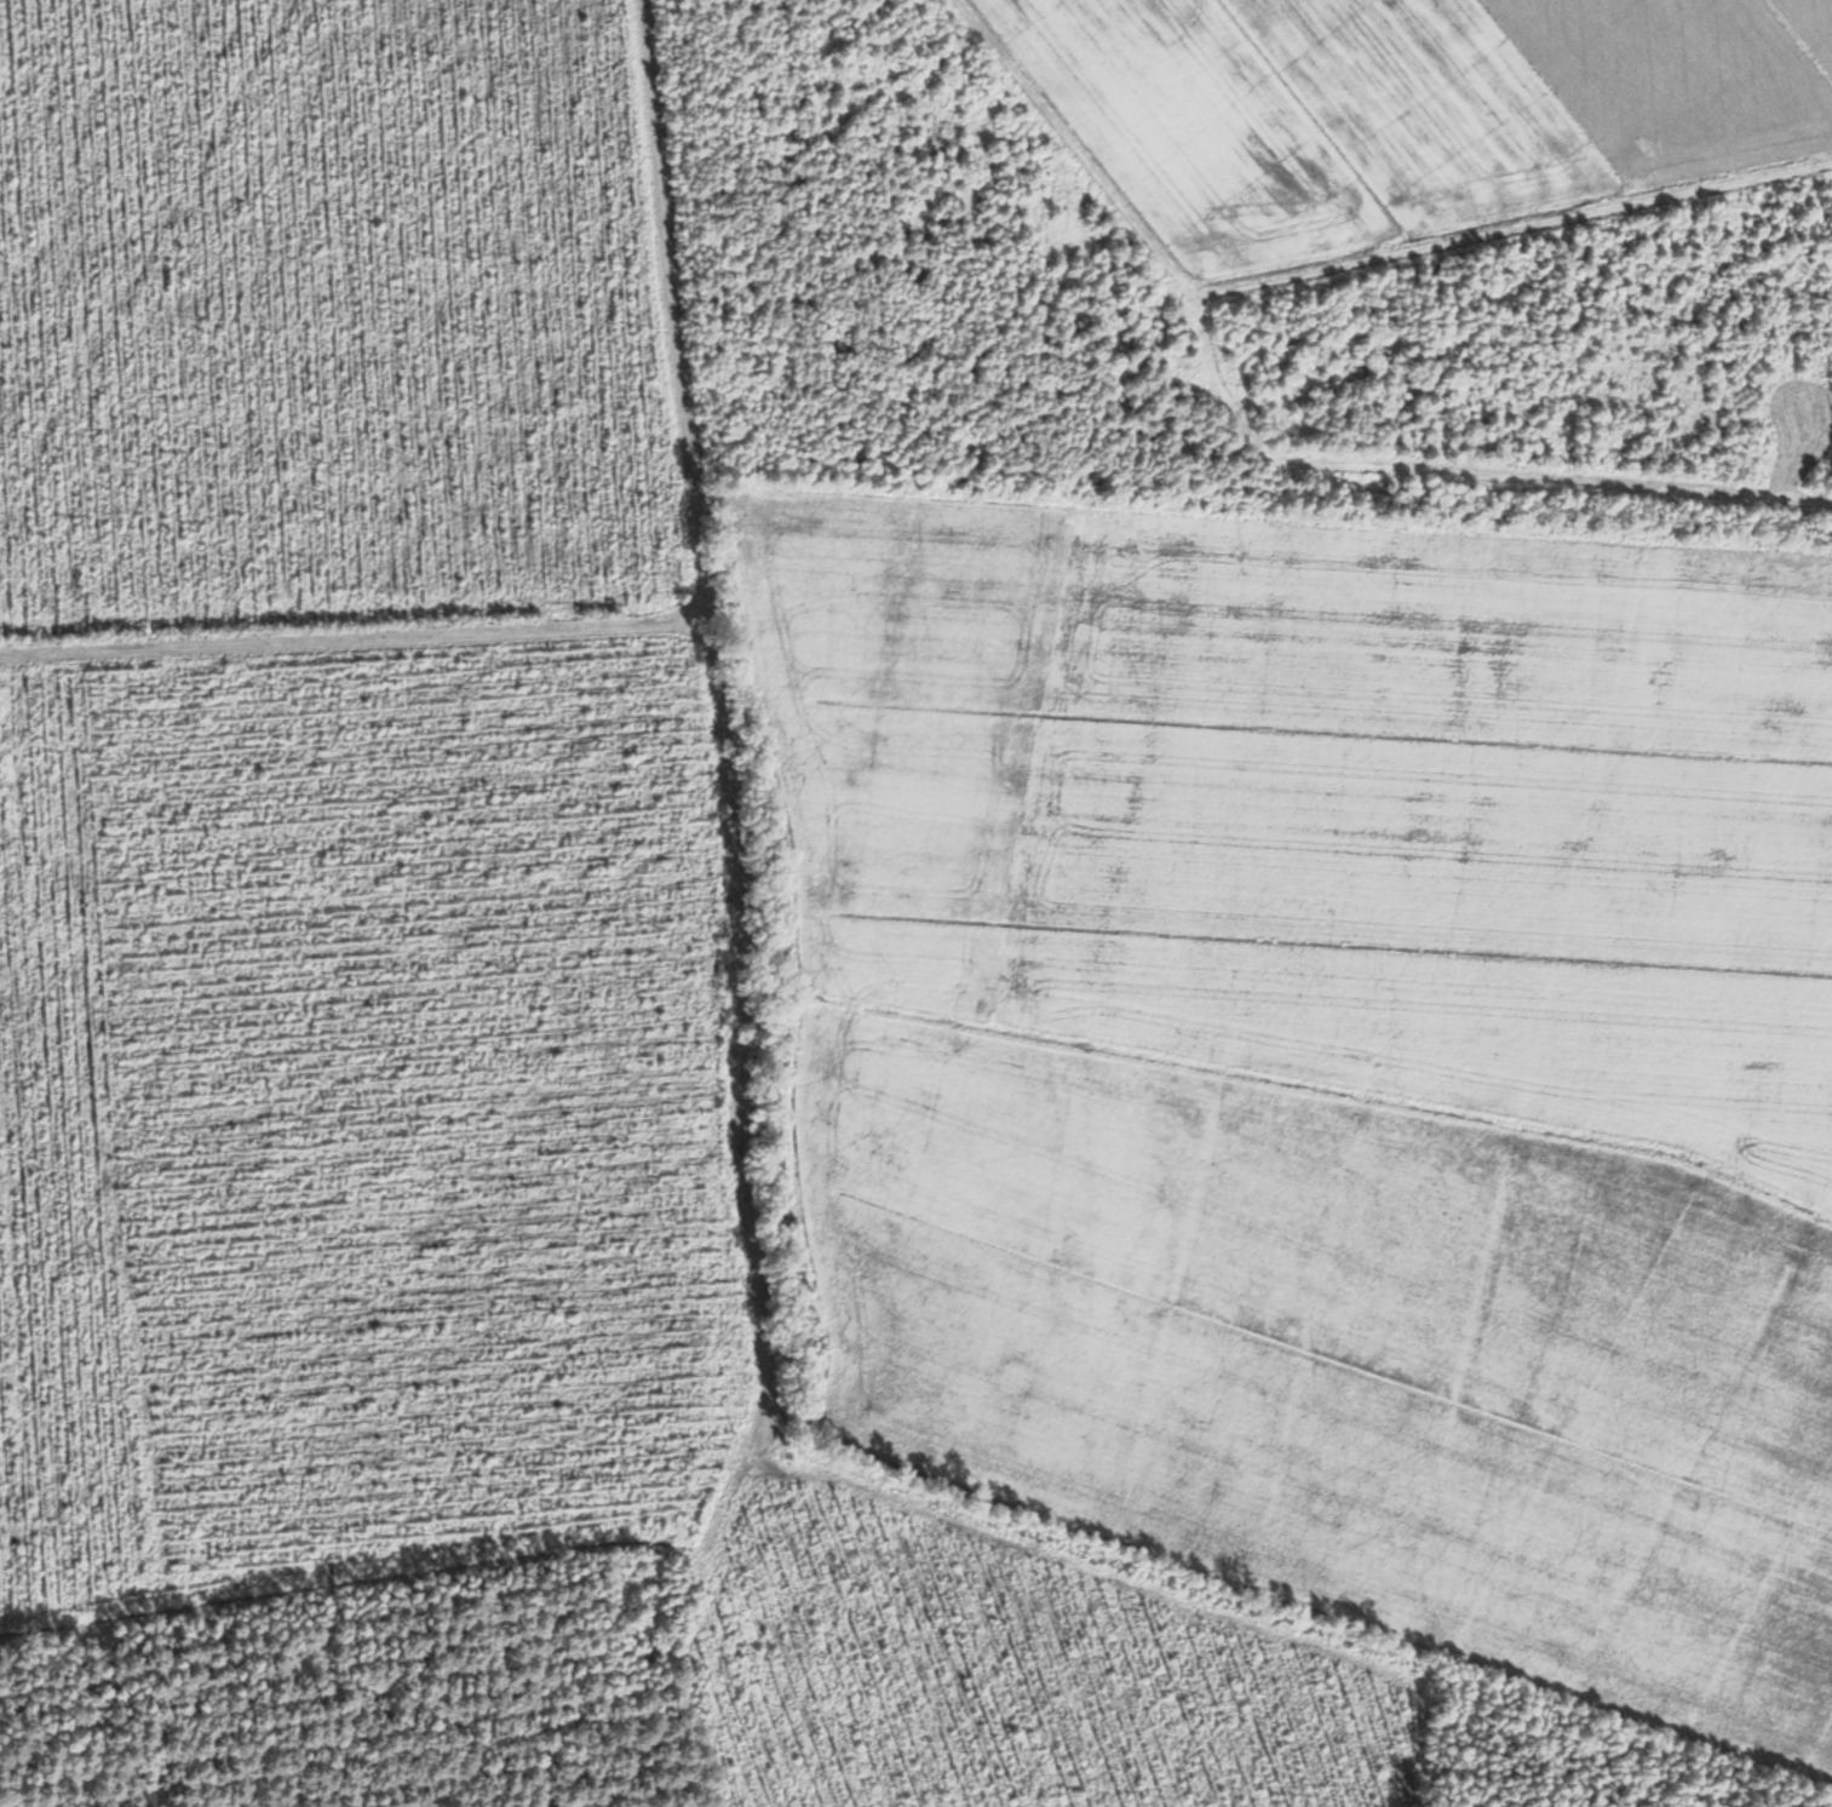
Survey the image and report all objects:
road: (341, 639)

